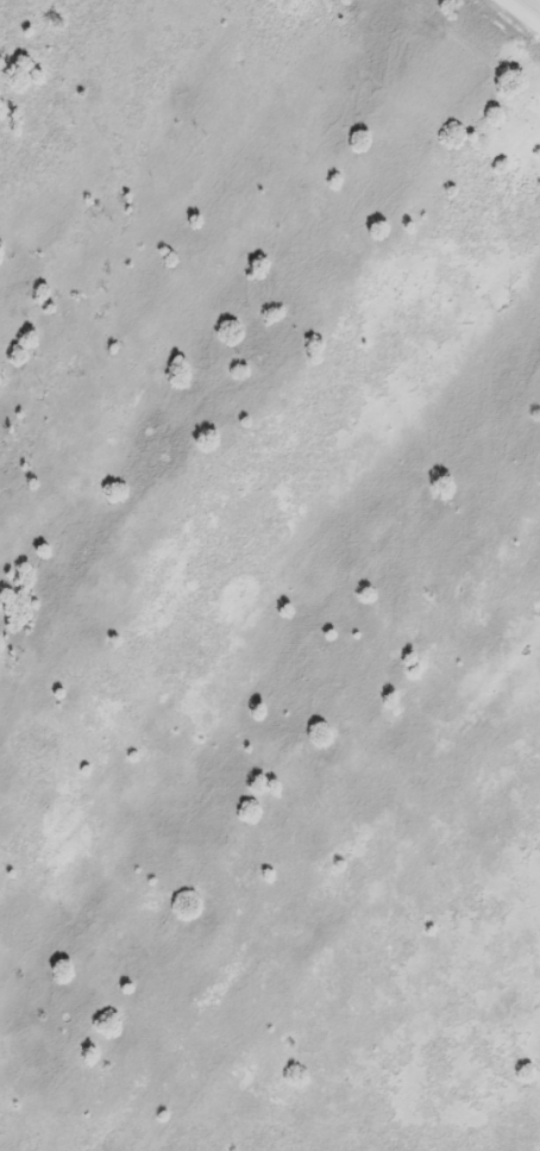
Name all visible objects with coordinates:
quarry: (270, 575)

